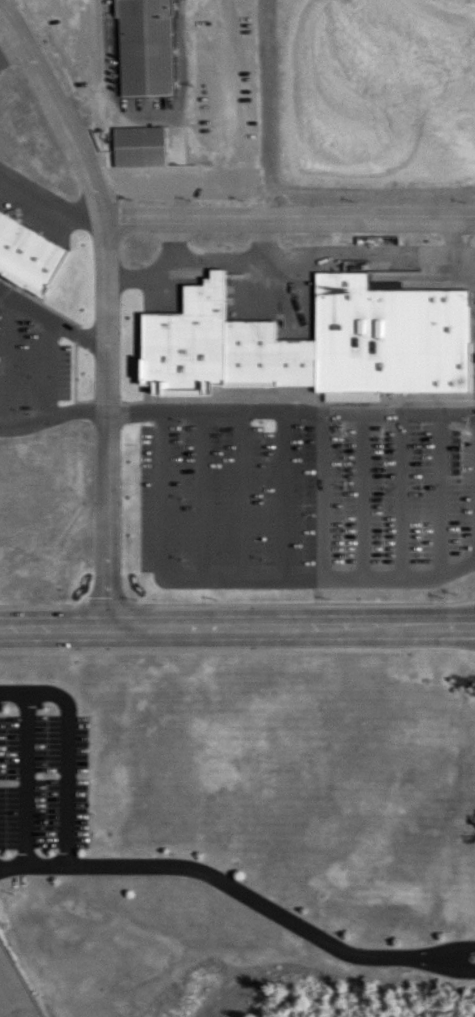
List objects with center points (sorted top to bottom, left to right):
building: (148, 51)
building: (142, 149)
road: (287, 219)
building: (379, 223)
building: (457, 224)
building: (419, 225)
building: (127, 268)
building: (372, 288)
building: (305, 290)
building: (453, 293)
building: (182, 297)
road: (103, 307)
building: (179, 330)
building: (382, 338)
building: (251, 345)
building: (134, 358)
building: (184, 376)
building: (297, 383)
building: (372, 398)
building: (122, 400)
road: (291, 412)
building: (298, 422)
building: (376, 442)
building: (258, 444)
building: (129, 447)
building: (181, 462)
building: (307, 463)
building: (253, 481)
building: (128, 489)
building: (370, 489)
building: (470, 506)
building: (302, 511)
building: (181, 514)
building: (254, 522)
building: (179, 550)
building: (304, 551)
building: (419, 559)
building: (251, 561)
building: (125, 569)
building: (297, 590)
building: (179, 592)
building: (249, 604)
building: (127, 608)
road: (237, 627)
road: (63, 752)
building: (474, 768)
road: (224, 881)
road: (454, 950)
road: (454, 964)

